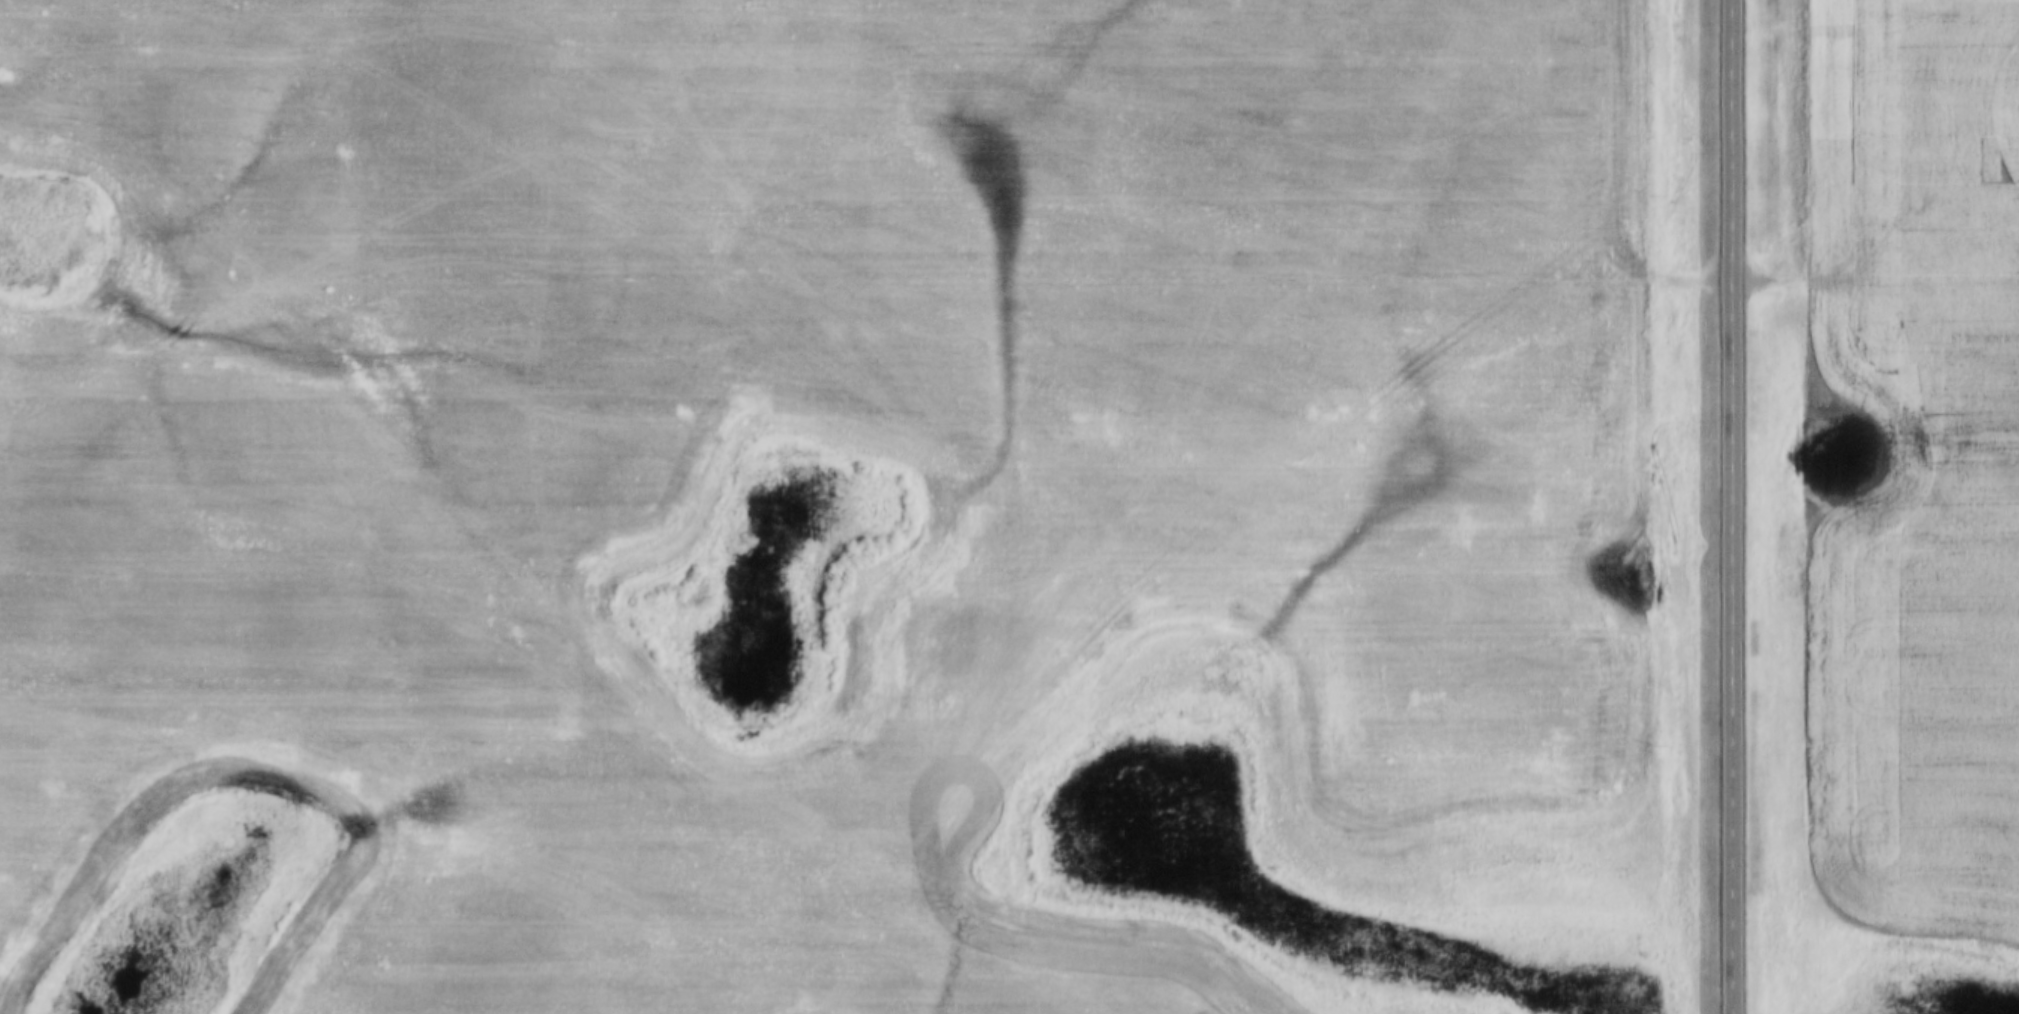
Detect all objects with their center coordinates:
road: (1731, 506)

